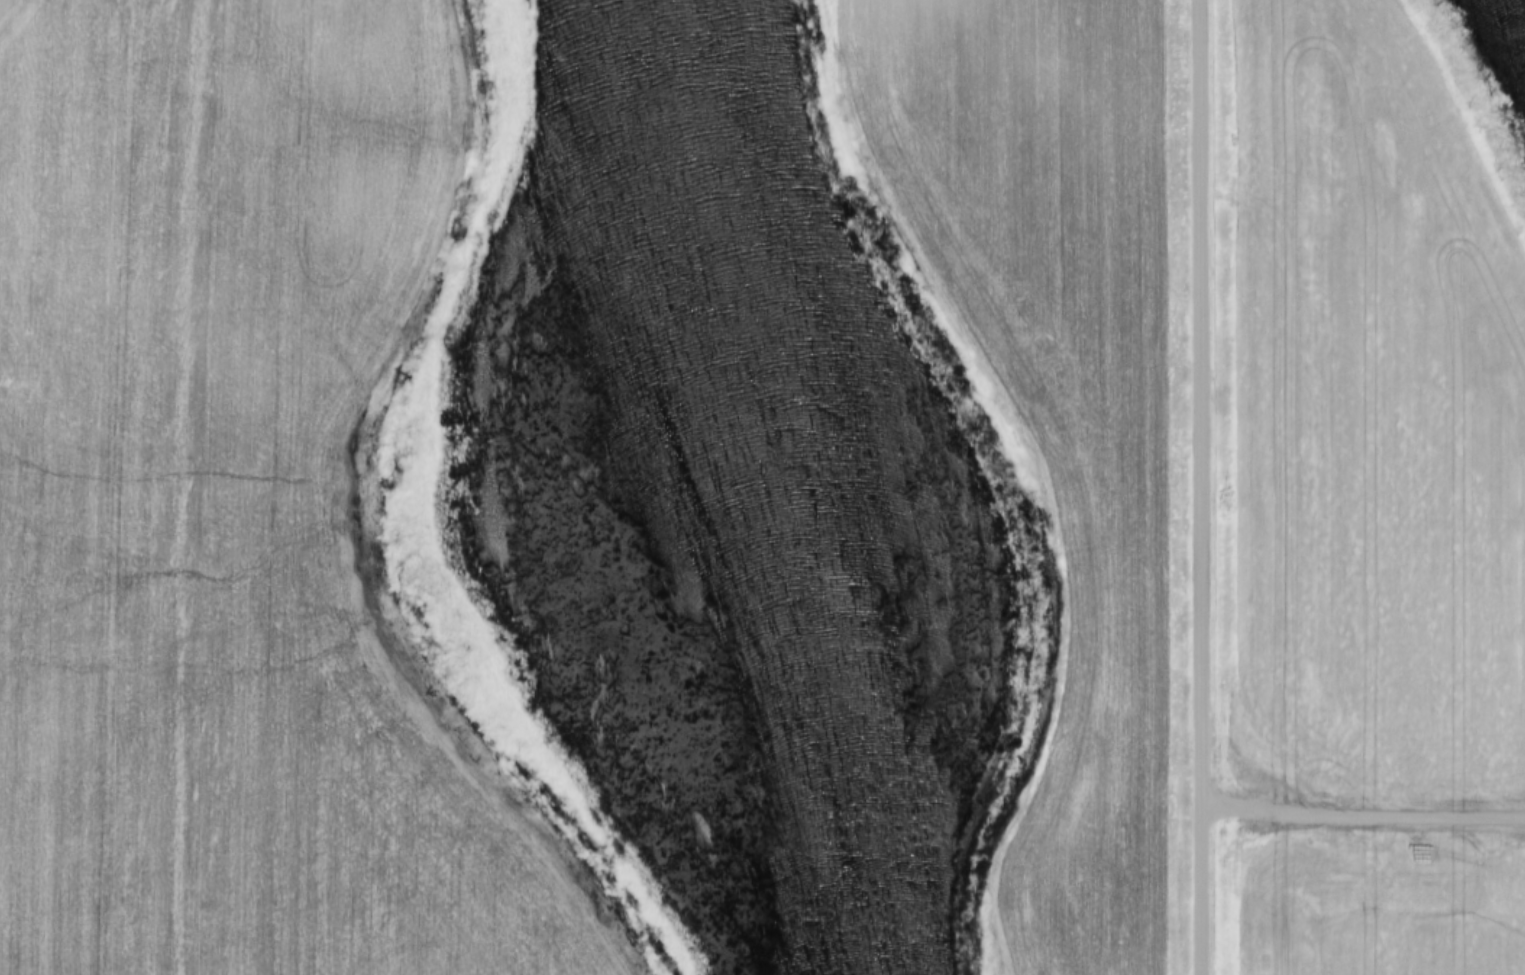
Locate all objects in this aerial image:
road: (1203, 487)

